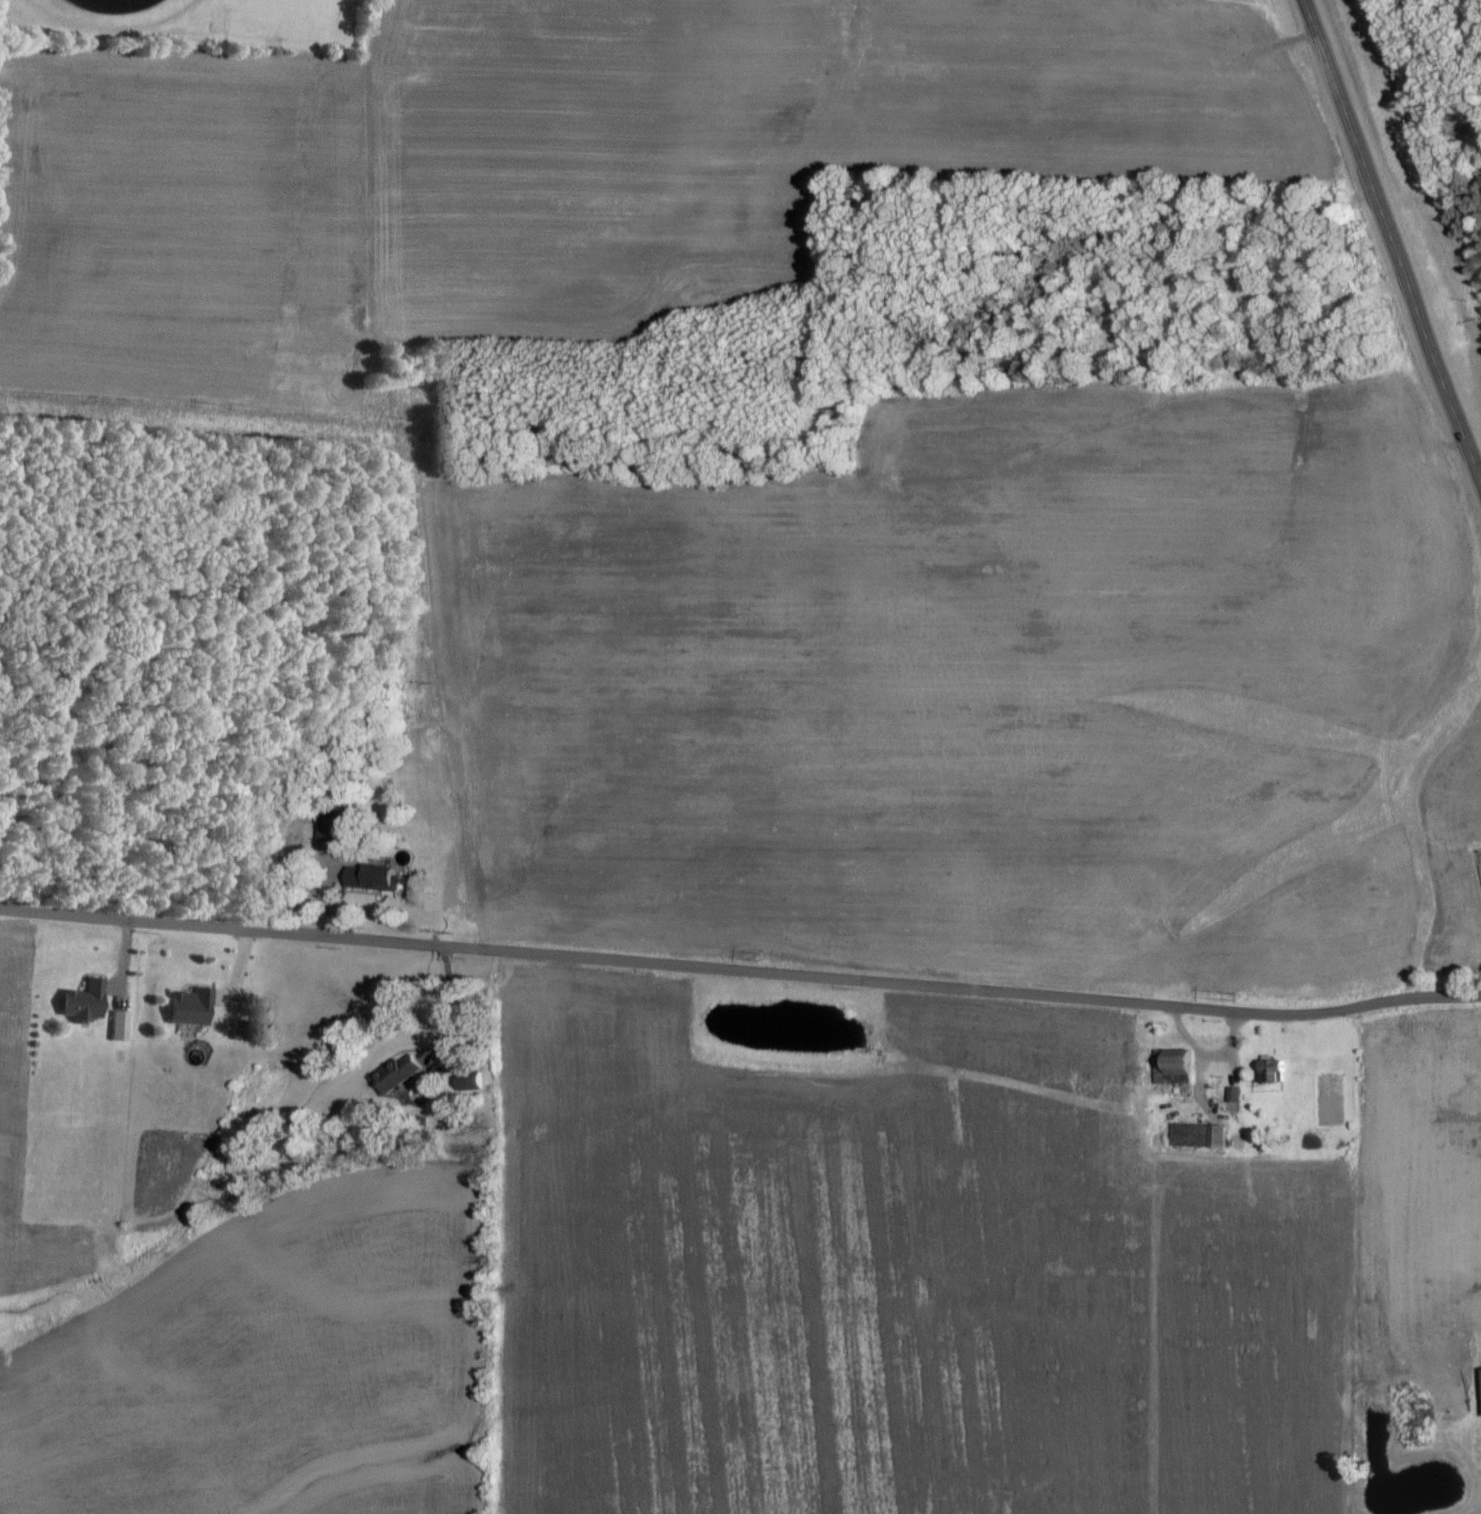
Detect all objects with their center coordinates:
track: (114, 4)
road: (1392, 244)
building: (377, 877)
road: (740, 970)
building: (89, 1000)
building: (196, 1006)
road: (447, 1010)
building: (1177, 1064)
building: (402, 1073)
building: (1237, 1094)
building: (1203, 1135)
building: (1479, 1388)

